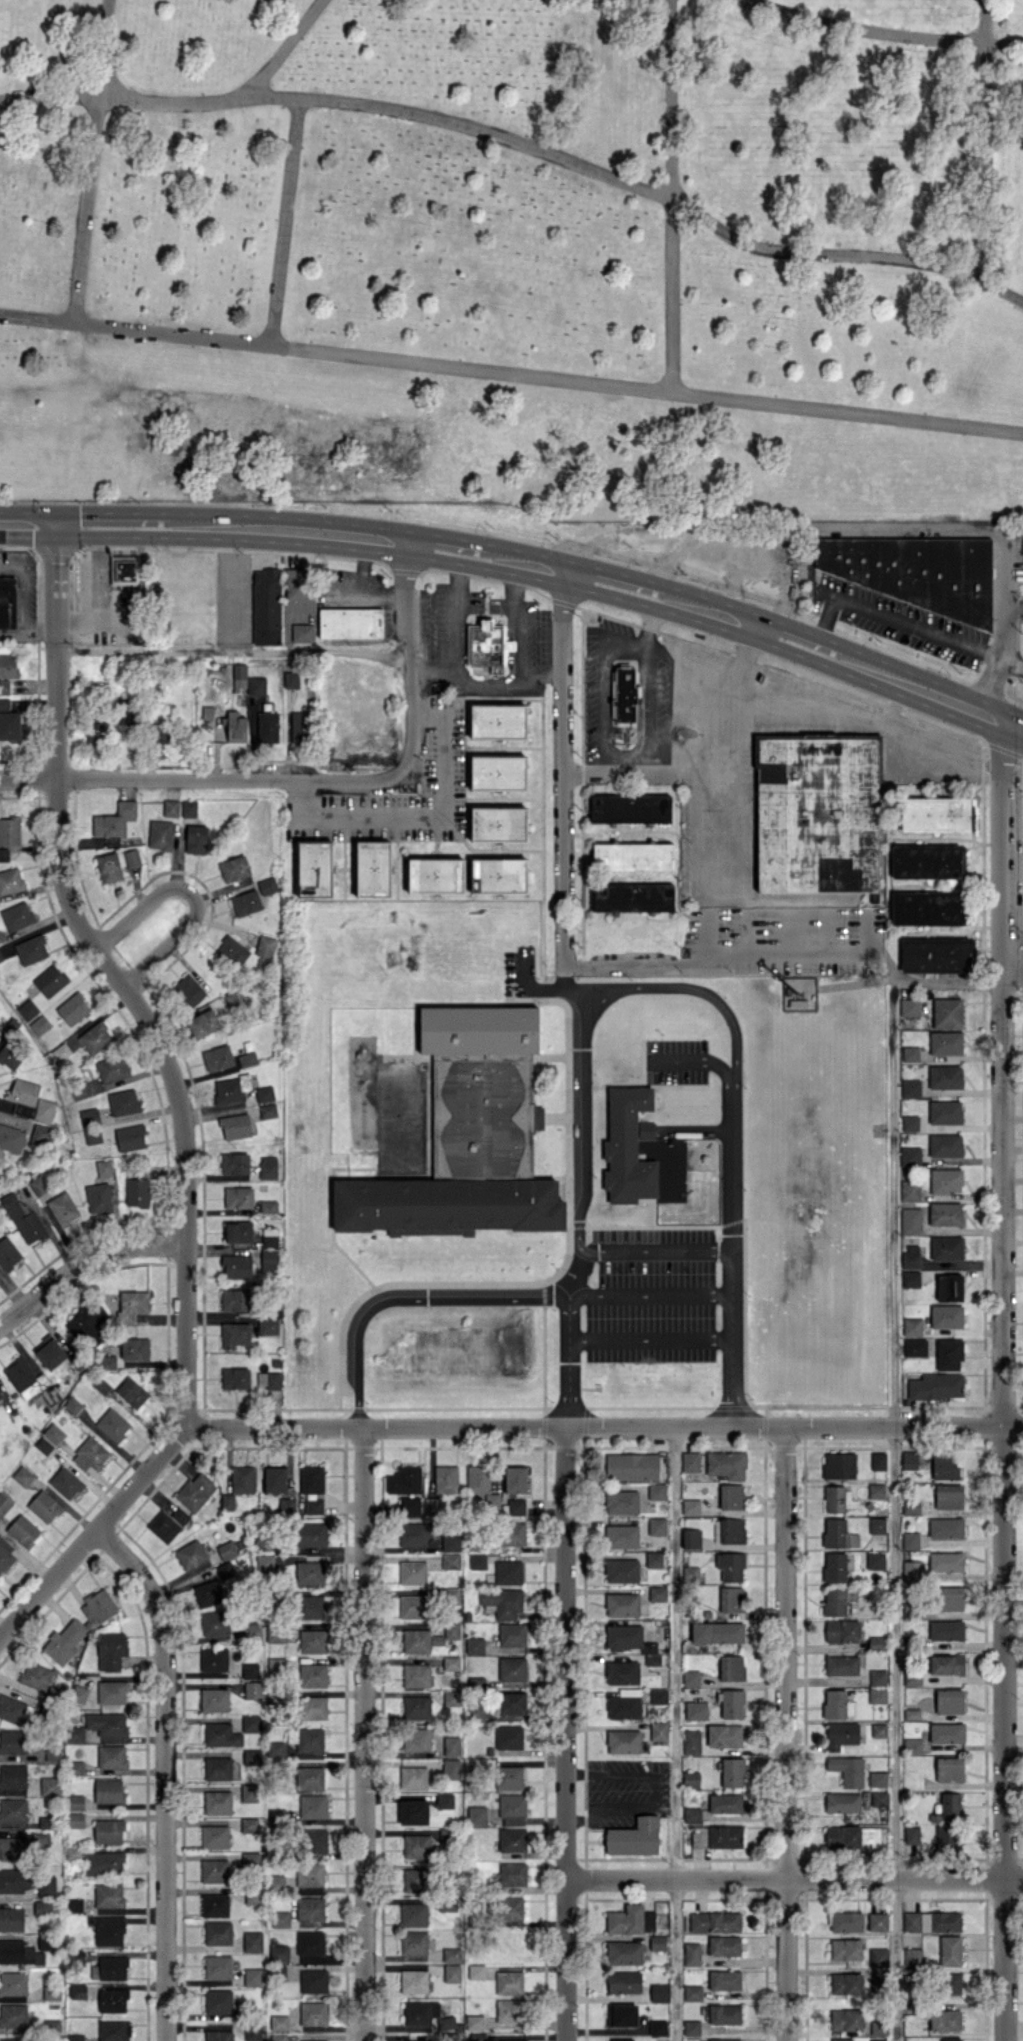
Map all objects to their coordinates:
road: (881, 32)
road: (283, 49)
road: (988, 142)
road: (523, 145)
road: (92, 161)
road: (671, 196)
road: (286, 222)
park: (514, 257)
road: (511, 374)
road: (27, 524)
traffic signals: (54, 524)
road: (106, 526)
road: (867, 530)
road: (282, 531)
road: (445, 549)
road: (523, 564)
building: (124, 571)
building: (915, 571)
building: (295, 583)
road: (610, 584)
road: (24, 590)
building: (7, 602)
building: (266, 606)
road: (1012, 607)
road: (708, 610)
building: (350, 622)
road: (823, 623)
building: (302, 632)
road: (27, 633)
road: (798, 641)
building: (487, 645)
road: (233, 650)
road: (744, 654)
road: (410, 656)
building: (8, 665)
road: (1012, 668)
road: (869, 669)
road: (432, 670)
building: (239, 676)
road: (647, 678)
building: (291, 679)
building: (256, 685)
road: (477, 685)
building: (4, 687)
building: (624, 694)
road: (797, 700)
road: (951, 700)
road: (894, 705)
building: (207, 712)
road: (603, 720)
building: (497, 721)
building: (11, 723)
road: (1011, 724)
building: (267, 726)
building: (301, 726)
building: (235, 727)
building: (162, 732)
building: (96, 739)
road: (648, 761)
road: (604, 762)
road: (562, 766)
road: (690, 770)
building: (497, 773)
road: (203, 778)
building: (171, 808)
building: (189, 808)
building: (630, 808)
road: (414, 813)
building: (817, 813)
building: (934, 814)
building: (114, 820)
building: (497, 824)
building: (9, 831)
building: (160, 834)
building: (196, 839)
building: (4, 854)
building: (632, 856)
building: (927, 861)
building: (116, 864)
building: (234, 868)
building: (372, 868)
building: (314, 869)
building: (435, 875)
building: (498, 875)
building: (10, 881)
building: (267, 885)
road: (191, 895)
building: (632, 897)
building: (246, 902)
building: (927, 907)
building: (17, 916)
building: (0, 939)
building: (265, 946)
building: (31, 949)
building: (232, 951)
road: (797, 955)
building: (935, 955)
building: (0, 958)
road: (626, 960)
road: (524, 966)
parking lot: (519, 971)
road: (1011, 972)
road: (563, 974)
building: (50, 980)
road: (945, 981)
road: (555, 988)
road: (696, 988)
building: (189, 990)
building: (798, 1003)
building: (909, 1007)
building: (73, 1008)
building: (27, 1009)
building: (947, 1013)
building: (203, 1023)
building: (40, 1024)
building: (95, 1037)
building: (945, 1042)
building: (11, 1054)
building: (910, 1054)
building: (217, 1057)
building: (247, 1059)
parking lot: (675, 1061)
road: (692, 1061)
building: (111, 1068)
building: (945, 1076)
building: (231, 1088)
building: (910, 1088)
building: (81, 1090)
building: (264, 1093)
building: (29, 1100)
road: (177, 1100)
building: (123, 1102)
building: (267, 1110)
building: (945, 1112)
building: (89, 1115)
road: (585, 1119)
building: (910, 1123)
building: (235, 1125)
building: (467, 1133)
building: (40, 1134)
building: (92, 1135)
building: (130, 1137)
building: (11, 1138)
building: (628, 1144)
building: (945, 1145)
building: (910, 1156)
building: (234, 1163)
building: (268, 1167)
building: (104, 1168)
building: (946, 1181)
building: (38, 1185)
building: (909, 1190)
building: (136, 1192)
building: (98, 1197)
building: (238, 1197)
building: (268, 1206)
building: (63, 1208)
building: (945, 1214)
building: (22, 1216)
building: (910, 1221)
building: (238, 1231)
building: (269, 1237)
building: (946, 1248)
road: (655, 1249)
building: (8, 1253)
road: (732, 1253)
building: (910, 1256)
road: (83, 1260)
building: (269, 1260)
building: (236, 1266)
road: (573, 1271)
building: (910, 1279)
building: (949, 1287)
road: (650, 1292)
road: (404, 1293)
parking lot: (652, 1295)
building: (235, 1300)
building: (132, 1305)
building: (946, 1316)
building: (86, 1324)
building: (268, 1326)
building: (912, 1326)
building: (235, 1334)
road: (650, 1339)
building: (914, 1347)
building: (135, 1348)
building: (54, 1354)
building: (948, 1354)
road: (569, 1359)
building: (109, 1361)
building: (235, 1377)
building: (24, 1378)
building: (269, 1379)
road: (1001, 1380)
building: (101, 1385)
building: (936, 1386)
building: (132, 1392)
building: (0, 1397)
building: (73, 1405)
building: (112, 1424)
road: (604, 1426)
building: (53, 1433)
building: (43, 1445)
building: (90, 1454)
building: (690, 1461)
building: (878, 1461)
building: (727, 1464)
building: (911, 1464)
building: (839, 1465)
building: (631, 1466)
building: (23, 1476)
building: (242, 1479)
building: (275, 1479)
building: (311, 1479)
building: (445, 1479)
building: (477, 1479)
building: (515, 1479)
building: (404, 1480)
building: (65, 1482)
building: (196, 1491)
building: (656, 1491)
building: (876, 1492)
building: (731, 1496)
building: (948, 1496)
building: (834, 1498)
building: (227, 1501)
building: (621, 1501)
building: (4, 1503)
building: (432, 1505)
building: (44, 1506)
building: (314, 1506)
building: (409, 1506)
building: (690, 1506)
building: (910, 1506)
building: (516, 1507)
road: (894, 1510)
building: (168, 1523)
building: (656, 1526)
building: (945, 1527)
building: (22, 1530)
building: (728, 1530)
building: (415, 1533)
building: (512, 1534)
building: (838, 1534)
building: (311, 1535)
building: (621, 1536)
building: (691, 1538)
building: (909, 1540)
building: (261, 1543)
building: (450, 1543)
building: (227, 1549)
building: (190, 1554)
building: (5, 1555)
building: (653, 1559)
building: (875, 1560)
building: (451, 1561)
building: (477, 1561)
building: (946, 1561)
building: (265, 1563)
building: (730, 1566)
building: (834, 1567)
building: (621, 1570)
building: (911, 1571)
building: (309, 1572)
building: (412, 1572)
building: (508, 1572)
building: (689, 1574)
building: (208, 1593)
building: (657, 1593)
building: (451, 1594)
building: (949, 1598)
building: (731, 1599)
building: (834, 1601)
building: (502, 1602)
building: (622, 1604)
building: (98, 1606)
building: (311, 1606)
building: (412, 1606)
building: (215, 1622)
building: (250, 1630)
building: (452, 1630)
building: (842, 1630)
building: (946, 1630)
building: (717, 1632)
building: (275, 1633)
building: (512, 1634)
building: (622, 1636)
building: (64, 1641)
building: (312, 1641)
building: (418, 1641)
building: (876, 1642)
building: (474, 1645)
building: (648, 1647)
building: (110, 1650)
building: (214, 1659)
building: (652, 1659)
building: (451, 1663)
building: (841, 1664)
building: (946, 1664)
building: (276, 1666)
building: (731, 1667)
building: (512, 1668)
building: (250, 1670)
building: (622, 1672)
building: (214, 1674)
building: (35, 1675)
building: (312, 1675)
building: (416, 1675)
building: (690, 1677)
building: (877, 1677)
building: (912, 1677)
building: (476, 1681)
building: (252, 1689)
building: (112, 1692)
building: (80, 1694)
building: (658, 1695)
building: (877, 1695)
building: (451, 1698)
building: (213, 1699)
building: (949, 1701)
building: (512, 1703)
building: (834, 1703)
building: (624, 1704)
building: (732, 1704)
building: (312, 1707)
building: (416, 1707)
building: (14, 1710)
building: (696, 1710)
building: (475, 1713)
building: (911, 1714)
building: (107, 1723)
building: (250, 1723)
building: (878, 1730)
building: (658, 1731)
road: (566, 1733)
road: (676, 1733)
road: (784, 1733)
building: (946, 1733)
building: (74, 1734)
building: (221, 1734)
road: (362, 1734)
building: (841, 1734)
building: (724, 1735)
building: (508, 1736)
building: (416, 1739)
building: (310, 1740)
building: (12, 1741)
building: (623, 1741)
building: (691, 1741)
building: (451, 1746)
building: (912, 1746)
building: (275, 1748)
building: (53, 1753)
building: (111, 1756)
building: (251, 1756)
building: (75, 1767)
building: (217, 1768)
building: (451, 1769)
building: (949, 1769)
building: (847, 1770)
building: (732, 1772)
road: (165, 1773)
building: (13, 1776)
building: (413, 1777)
building: (508, 1777)
building: (309, 1778)
building: (690, 1779)
building: (877, 1779)
building: (49, 1785)
building: (108, 1790)
building: (249, 1793)
road: (652, 1793)
building: (879, 1798)
building: (445, 1800)
building: (75, 1802)
building: (217, 1802)
building: (842, 1802)
building: (725, 1803)
building: (512, 1804)
building: (950, 1805)
building: (313, 1806)
building: (13, 1810)
building: (413, 1812)
building: (476, 1815)
building: (692, 1815)
building: (278, 1816)
building: (75, 1820)
building: (517, 1820)
building: (249, 1825)
building: (108, 1831)
building: (445, 1835)
building: (911, 1835)
building: (214, 1836)
building: (716, 1836)
building: (634, 1837)
building: (851, 1837)
building: (947, 1838)
building: (42, 1839)
building: (512, 1839)
building: (313, 1840)
building: (416, 1846)
building: (13, 1848)
building: (73, 1853)
building: (250, 1858)
building: (104, 1862)
building: (213, 1870)
building: (512, 1873)
building: (309, 1874)
road: (794, 1877)
building: (16, 1880)
building: (415, 1880)
building: (277, 1882)
building: (46, 1885)
building: (108, 1895)
building: (253, 1895)
building: (75, 1905)
building: (214, 1905)
building: (43, 1907)
building: (310, 1908)
building: (510, 1908)
building: (413, 1914)
building: (11, 1919)
building: (280, 1919)
building: (630, 1919)
building: (714, 1921)
building: (846, 1921)
building: (877, 1921)
building: (931, 1921)
building: (108, 1930)
building: (218, 1932)
building: (252, 1941)
building: (310, 1942)
building: (413, 1942)
building: (657, 1943)
building: (724, 1945)
building: (845, 1949)
building: (950, 1950)
building: (19, 1952)
building: (279, 1952)
building: (624, 1953)
building: (451, 1954)
building: (691, 1954)
building: (879, 1956)
building: (912, 1956)
building: (218, 1967)
building: (109, 1968)
building: (476, 1971)
building: (452, 1973)
building: (253, 1977)
building: (724, 1979)
building: (413, 1980)
building: (313, 1981)
building: (509, 1982)
building: (623, 1982)
building: (13, 1983)
building: (846, 1983)
building: (949, 1983)
building: (77, 1991)
building: (51, 1992)
building: (659, 1992)
building: (692, 1992)
building: (112, 2000)
building: (218, 2001)
building: (509, 2010)
building: (420, 2012)
building: (313, 2013)
building: (724, 2014)
building: (13, 2015)
building: (621, 2015)
building: (845, 2019)
building: (945, 2020)
building: (279, 2022)
building: (475, 2022)
building: (449, 2024)
building: (52, 2026)
building: (657, 2027)
building: (691, 2027)
building: (114, 2030)
building: (253, 2033)
building: (218, 2035)
building: (279, 2036)
building: (75, 2037)
building: (476, 2037)
building: (13, 2039)
building: (621, 2039)
building: (840, 2039)
building: (950, 2039)
building: (313, 2040)
building: (416, 2040)
building: (513, 2040)
building: (720, 2040)
building: (877, 2040)

